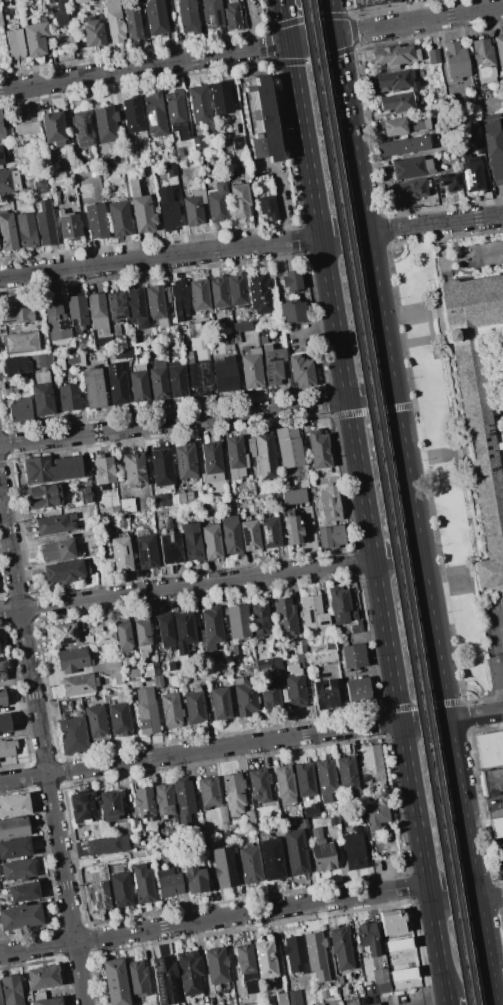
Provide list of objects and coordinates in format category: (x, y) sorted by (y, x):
building: (79, 1)
building: (370, 3)
building: (61, 13)
building: (212, 14)
building: (187, 15)
building: (232, 15)
building: (155, 17)
road: (329, 17)
road: (284, 20)
building: (1, 21)
building: (114, 21)
building: (132, 24)
road: (249, 24)
building: (92, 32)
traffic signals: (333, 35)
building: (34, 39)
traffic signals: (288, 42)
building: (16, 43)
road: (251, 48)
building: (499, 50)
building: (395, 56)
building: (435, 56)
building: (483, 60)
building: (457, 61)
road: (339, 78)
building: (396, 80)
building: (220, 98)
building: (398, 102)
building: (199, 103)
building: (458, 105)
building: (488, 105)
building: (176, 113)
building: (133, 115)
building: (155, 115)
building: (261, 119)
building: (105, 123)
building: (405, 125)
building: (1, 127)
building: (26, 129)
building: (53, 129)
building: (81, 131)
building: (198, 142)
building: (238, 145)
building: (404, 146)
building: (494, 147)
building: (480, 148)
building: (3, 152)
building: (133, 158)
building: (104, 163)
building: (410, 167)
building: (163, 170)
road: (356, 176)
building: (473, 176)
building: (86, 177)
building: (9, 181)
building: (57, 181)
building: (449, 181)
building: (40, 185)
building: (411, 189)
building: (71, 192)
building: (55, 197)
building: (240, 200)
building: (218, 203)
road: (279, 204)
building: (267, 206)
building: (194, 208)
building: (168, 209)
building: (141, 210)
building: (119, 217)
building: (95, 221)
road: (433, 223)
building: (69, 227)
building: (45, 228)
building: (8, 231)
building: (27, 231)
road: (342, 235)
road: (159, 257)
building: (292, 281)
building: (237, 290)
building: (218, 292)
building: (261, 292)
building: (198, 296)
building: (179, 300)
building: (168, 301)
building: (156, 307)
building: (136, 309)
building: (116, 311)
building: (97, 312)
building: (292, 312)
building: (16, 313)
building: (77, 313)
building: (56, 321)
building: (241, 327)
building: (194, 329)
building: (235, 337)
building: (20, 339)
building: (226, 339)
building: (263, 340)
building: (171, 346)
building: (128, 350)
building: (99, 353)
building: (187, 356)
building: (71, 357)
building: (44, 361)
building: (273, 364)
building: (16, 366)
building: (251, 369)
building: (301, 370)
building: (225, 375)
building: (41, 377)
building: (200, 378)
building: (176, 380)
building: (158, 382)
building: (139, 384)
building: (116, 386)
building: (93, 387)
building: (15, 391)
road: (369, 395)
building: (69, 397)
building: (41, 399)
building: (477, 403)
building: (20, 409)
road: (173, 421)
building: (287, 444)
building: (319, 450)
building: (263, 456)
building: (235, 458)
building: (212, 461)
building: (186, 462)
building: (163, 468)
building: (52, 469)
building: (135, 469)
building: (104, 470)
building: (45, 495)
building: (86, 495)
building: (264, 496)
building: (295, 496)
building: (185, 498)
building: (156, 502)
building: (277, 502)
railway: (382, 502)
railway: (391, 502)
building: (331, 504)
building: (128, 507)
road: (366, 521)
building: (56, 524)
building: (295, 530)
building: (269, 532)
building: (89, 534)
building: (230, 535)
building: (250, 536)
building: (332, 538)
road: (4, 540)
building: (192, 541)
building: (212, 541)
building: (169, 546)
building: (68, 549)
building: (146, 552)
building: (121, 554)
road: (396, 556)
building: (64, 571)
road: (186, 586)
building: (340, 604)
building: (312, 612)
building: (286, 617)
road: (496, 617)
road: (429, 618)
building: (260, 619)
building: (237, 624)
building: (210, 628)
building: (349, 628)
building: (166, 632)
building: (183, 633)
building: (64, 635)
building: (122, 635)
building: (103, 637)
building: (141, 637)
building: (0, 642)
building: (300, 647)
building: (237, 657)
building: (353, 657)
building: (322, 658)
building: (74, 659)
road: (496, 659)
building: (268, 665)
building: (171, 666)
building: (151, 669)
building: (4, 670)
building: (116, 671)
building: (134, 673)
building: (296, 682)
building: (78, 684)
building: (130, 689)
building: (357, 690)
building: (244, 695)
building: (271, 695)
building: (325, 695)
building: (2, 698)
road: (339, 699)
building: (167, 701)
building: (220, 702)
building: (74, 704)
building: (194, 705)
building: (146, 711)
road: (474, 715)
building: (119, 719)
road: (423, 721)
building: (95, 722)
building: (4, 724)
building: (71, 733)
road: (42, 746)
building: (7, 747)
building: (490, 748)
road: (199, 750)
building: (372, 766)
building: (348, 777)
building: (325, 779)
building: (304, 781)
building: (492, 781)
building: (259, 784)
building: (284, 785)
building: (208, 793)
building: (234, 793)
building: (163, 800)
building: (183, 801)
building: (144, 803)
building: (14, 805)
building: (109, 805)
building: (83, 807)
building: (222, 814)
building: (375, 815)
building: (250, 819)
building: (341, 820)
building: (333, 821)
building: (303, 823)
building: (134, 825)
building: (224, 826)
building: (14, 827)
building: (496, 827)
building: (122, 828)
building: (196, 833)
building: (197, 843)
building: (107, 845)
building: (14, 848)
building: (354, 849)
building: (295, 851)
building: (322, 851)
building: (498, 851)
building: (271, 859)
building: (250, 865)
building: (224, 867)
building: (17, 869)
road: (501, 872)
building: (195, 879)
building: (168, 882)
building: (142, 884)
building: (120, 890)
road: (451, 890)
building: (24, 892)
road: (489, 894)
building: (99, 895)
building: (21, 917)
road: (213, 917)
building: (392, 922)
building: (369, 938)
building: (341, 948)
road: (231, 953)
building: (295, 954)
building: (317, 956)
building: (265, 964)
building: (393, 967)
building: (246, 968)
building: (217, 969)
building: (189, 972)
building: (355, 975)
building: (42, 977)
building: (137, 979)
building: (164, 980)
building: (115, 982)
building: (378, 983)
building: (10, 990)
building: (328, 992)
building: (34, 996)
building: (288, 998)
building: (0, 1000)
building: (48, 1001)
road: (435, 1003)
road: (446, 1003)
building: (256, 1004)
building: (320, 1004)
building: (373, 1004)

